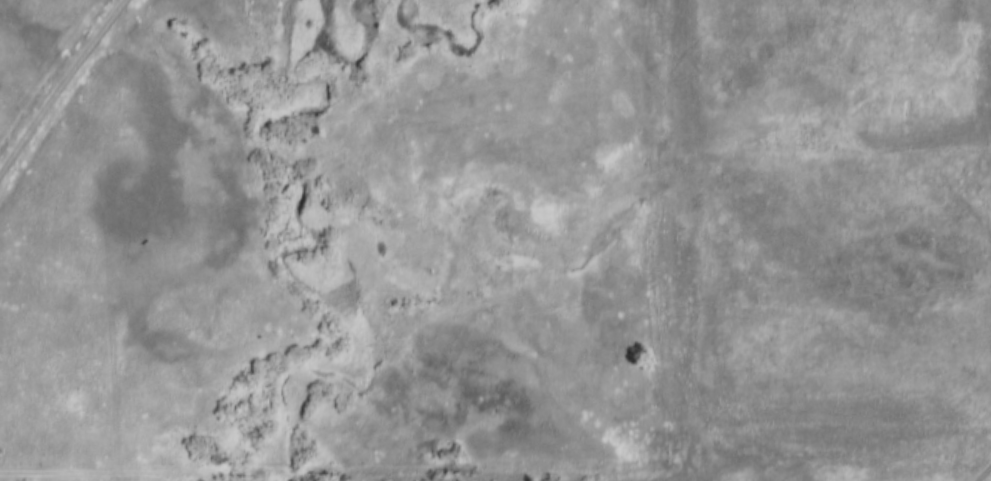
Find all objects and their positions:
road: (63, 88)
road: (969, 461)

